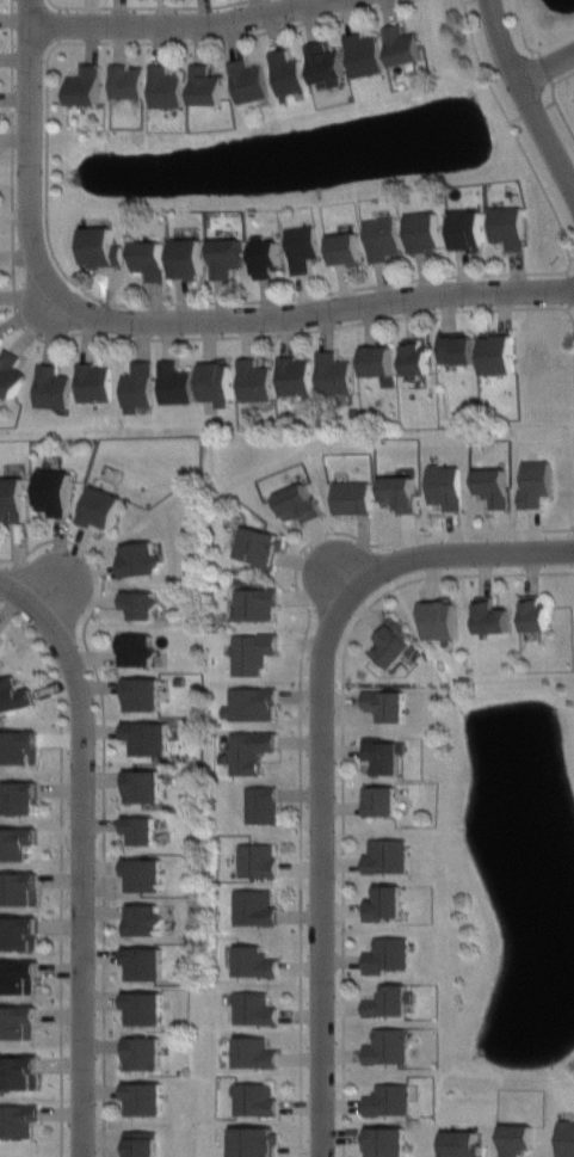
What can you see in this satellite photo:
road: (144, 6)
road: (521, 29)
road: (178, 30)
building: (405, 44)
building: (366, 55)
building: (326, 62)
building: (286, 70)
road: (551, 70)
building: (125, 80)
building: (248, 80)
building: (85, 85)
building: (205, 85)
building: (165, 87)
road: (532, 92)
road: (554, 99)
road: (31, 148)
building: (508, 223)
building: (468, 228)
building: (427, 232)
building: (383, 238)
building: (302, 245)
building: (99, 246)
building: (345, 247)
building: (226, 256)
building: (265, 256)
building: (186, 258)
building: (149, 259)
road: (163, 302)
road: (311, 315)
road: (154, 338)
building: (0, 339)
building: (457, 347)
building: (498, 351)
building: (415, 357)
building: (378, 359)
building: (10, 371)
building: (333, 373)
building: (295, 376)
building: (255, 380)
building: (217, 381)
building: (94, 382)
building: (178, 382)
building: (140, 387)
building: (51, 388)
building: (537, 484)
building: (446, 486)
building: (494, 486)
building: (55, 491)
building: (403, 493)
building: (13, 498)
building: (354, 498)
building: (298, 500)
building: (103, 506)
building: (257, 543)
road: (448, 555)
building: (141, 559)
road: (20, 601)
building: (257, 601)
building: (142, 603)
building: (536, 614)
building: (490, 616)
building: (440, 617)
building: (0, 639)
building: (393, 642)
building: (137, 650)
building: (252, 652)
building: (143, 694)
building: (13, 695)
building: (252, 704)
building: (388, 704)
road: (300, 708)
building: (148, 737)
building: (17, 746)
building: (251, 751)
building: (385, 751)
road: (342, 770)
building: (144, 787)
building: (21, 798)
road: (103, 799)
building: (383, 800)
building: (261, 802)
building: (142, 830)
building: (17, 843)
building: (387, 855)
building: (257, 860)
road: (60, 872)
building: (144, 874)
road: (322, 880)
road: (81, 881)
building: (18, 888)
building: (385, 903)
building: (254, 907)
building: (144, 919)
building: (18, 933)
building: (387, 954)
building: (144, 962)
building: (255, 962)
building: (18, 976)
building: (389, 999)
building: (146, 1007)
building: (253, 1007)
building: (18, 1022)
building: (388, 1046)
building: (143, 1051)
building: (255, 1052)
building: (19, 1072)
building: (146, 1096)
building: (257, 1098)
building: (389, 1100)
building: (17, 1120)
building: (517, 1139)
building: (566, 1139)
building: (253, 1140)
building: (389, 1140)
building: (142, 1144)
building: (463, 1144)

